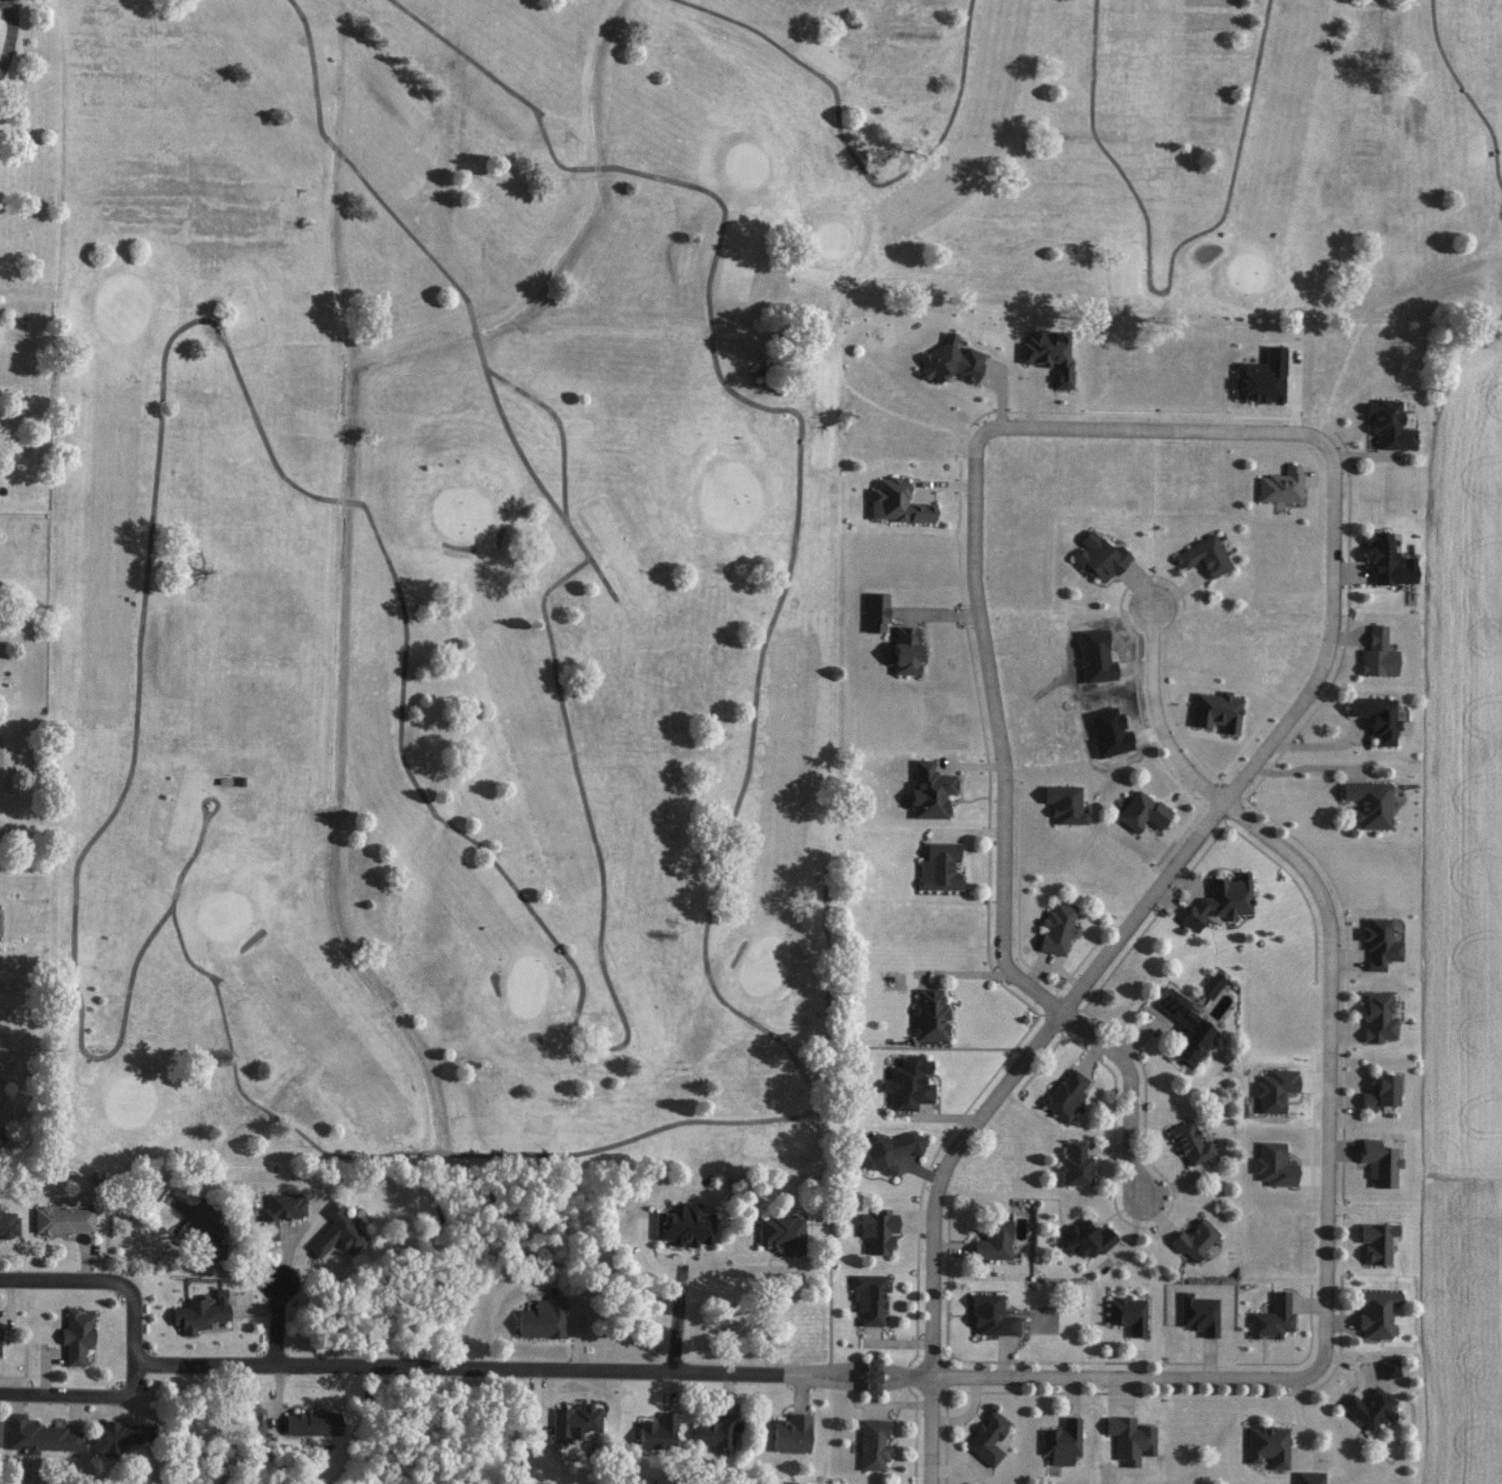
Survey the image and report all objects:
road: (12, 37)
road: (12, 37)
road: (12, 37)
road: (466, 57)
road: (1467, 93)
road: (547, 140)
road: (856, 162)
road: (373, 192)
road: (1169, 290)
building: (1048, 353)
building: (950, 360)
building: (1261, 376)
road: (723, 382)
road: (515, 387)
building: (1389, 424)
building: (1281, 485)
building: (896, 502)
park: (608, 503)
building: (1204, 555)
building: (1098, 556)
building: (1388, 560)
road: (604, 580)
road: (406, 611)
building: (875, 612)
building: (906, 650)
building: (1378, 653)
road: (990, 665)
building: (1216, 710)
building: (1377, 716)
building: (929, 791)
building: (1064, 803)
building: (1369, 803)
building: (1141, 811)
road: (1271, 839)
building: (939, 866)
road: (181, 882)
building: (1221, 900)
building: (1056, 928)
building: (1379, 943)
road: (1106, 953)
building: (1211, 984)
road: (733, 1010)
building: (929, 1015)
building: (1377, 1017)
building: (1185, 1028)
road: (926, 1049)
road: (106, 1056)
building: (907, 1083)
building: (1274, 1089)
building: (1382, 1092)
building: (1065, 1094)
building: (1191, 1143)
building: (885, 1149)
road: (466, 1155)
building: (1379, 1162)
building: (1274, 1164)
building: (1076, 1165)
building: (278, 1212)
building: (62, 1219)
building: (8, 1223)
building: (683, 1225)
building: (877, 1230)
building: (202, 1231)
building: (337, 1231)
building: (782, 1233)
road: (831, 1236)
building: (1086, 1238)
building: (994, 1240)
building: (1194, 1240)
building: (1377, 1242)
road: (694, 1271)
road: (105, 1279)
building: (868, 1299)
building: (199, 1312)
building: (1376, 1312)
building: (1127, 1314)
building: (1198, 1314)
building: (991, 1316)
road: (278, 1318)
building: (541, 1318)
building: (1272, 1318)
crop: (1459, 1331)
building: (75, 1335)
road: (207, 1361)
road: (933, 1370)
building: (871, 1376)
road: (81, 1394)
building: (1369, 1408)
building: (575, 1422)
building: (311, 1423)
building: (658, 1432)
building: (717, 1432)
building: (791, 1434)
building: (1133, 1434)
building: (112, 1436)
building: (41, 1437)
building: (986, 1437)
building: (1062, 1442)
building: (872, 1444)
building: (1268, 1445)

